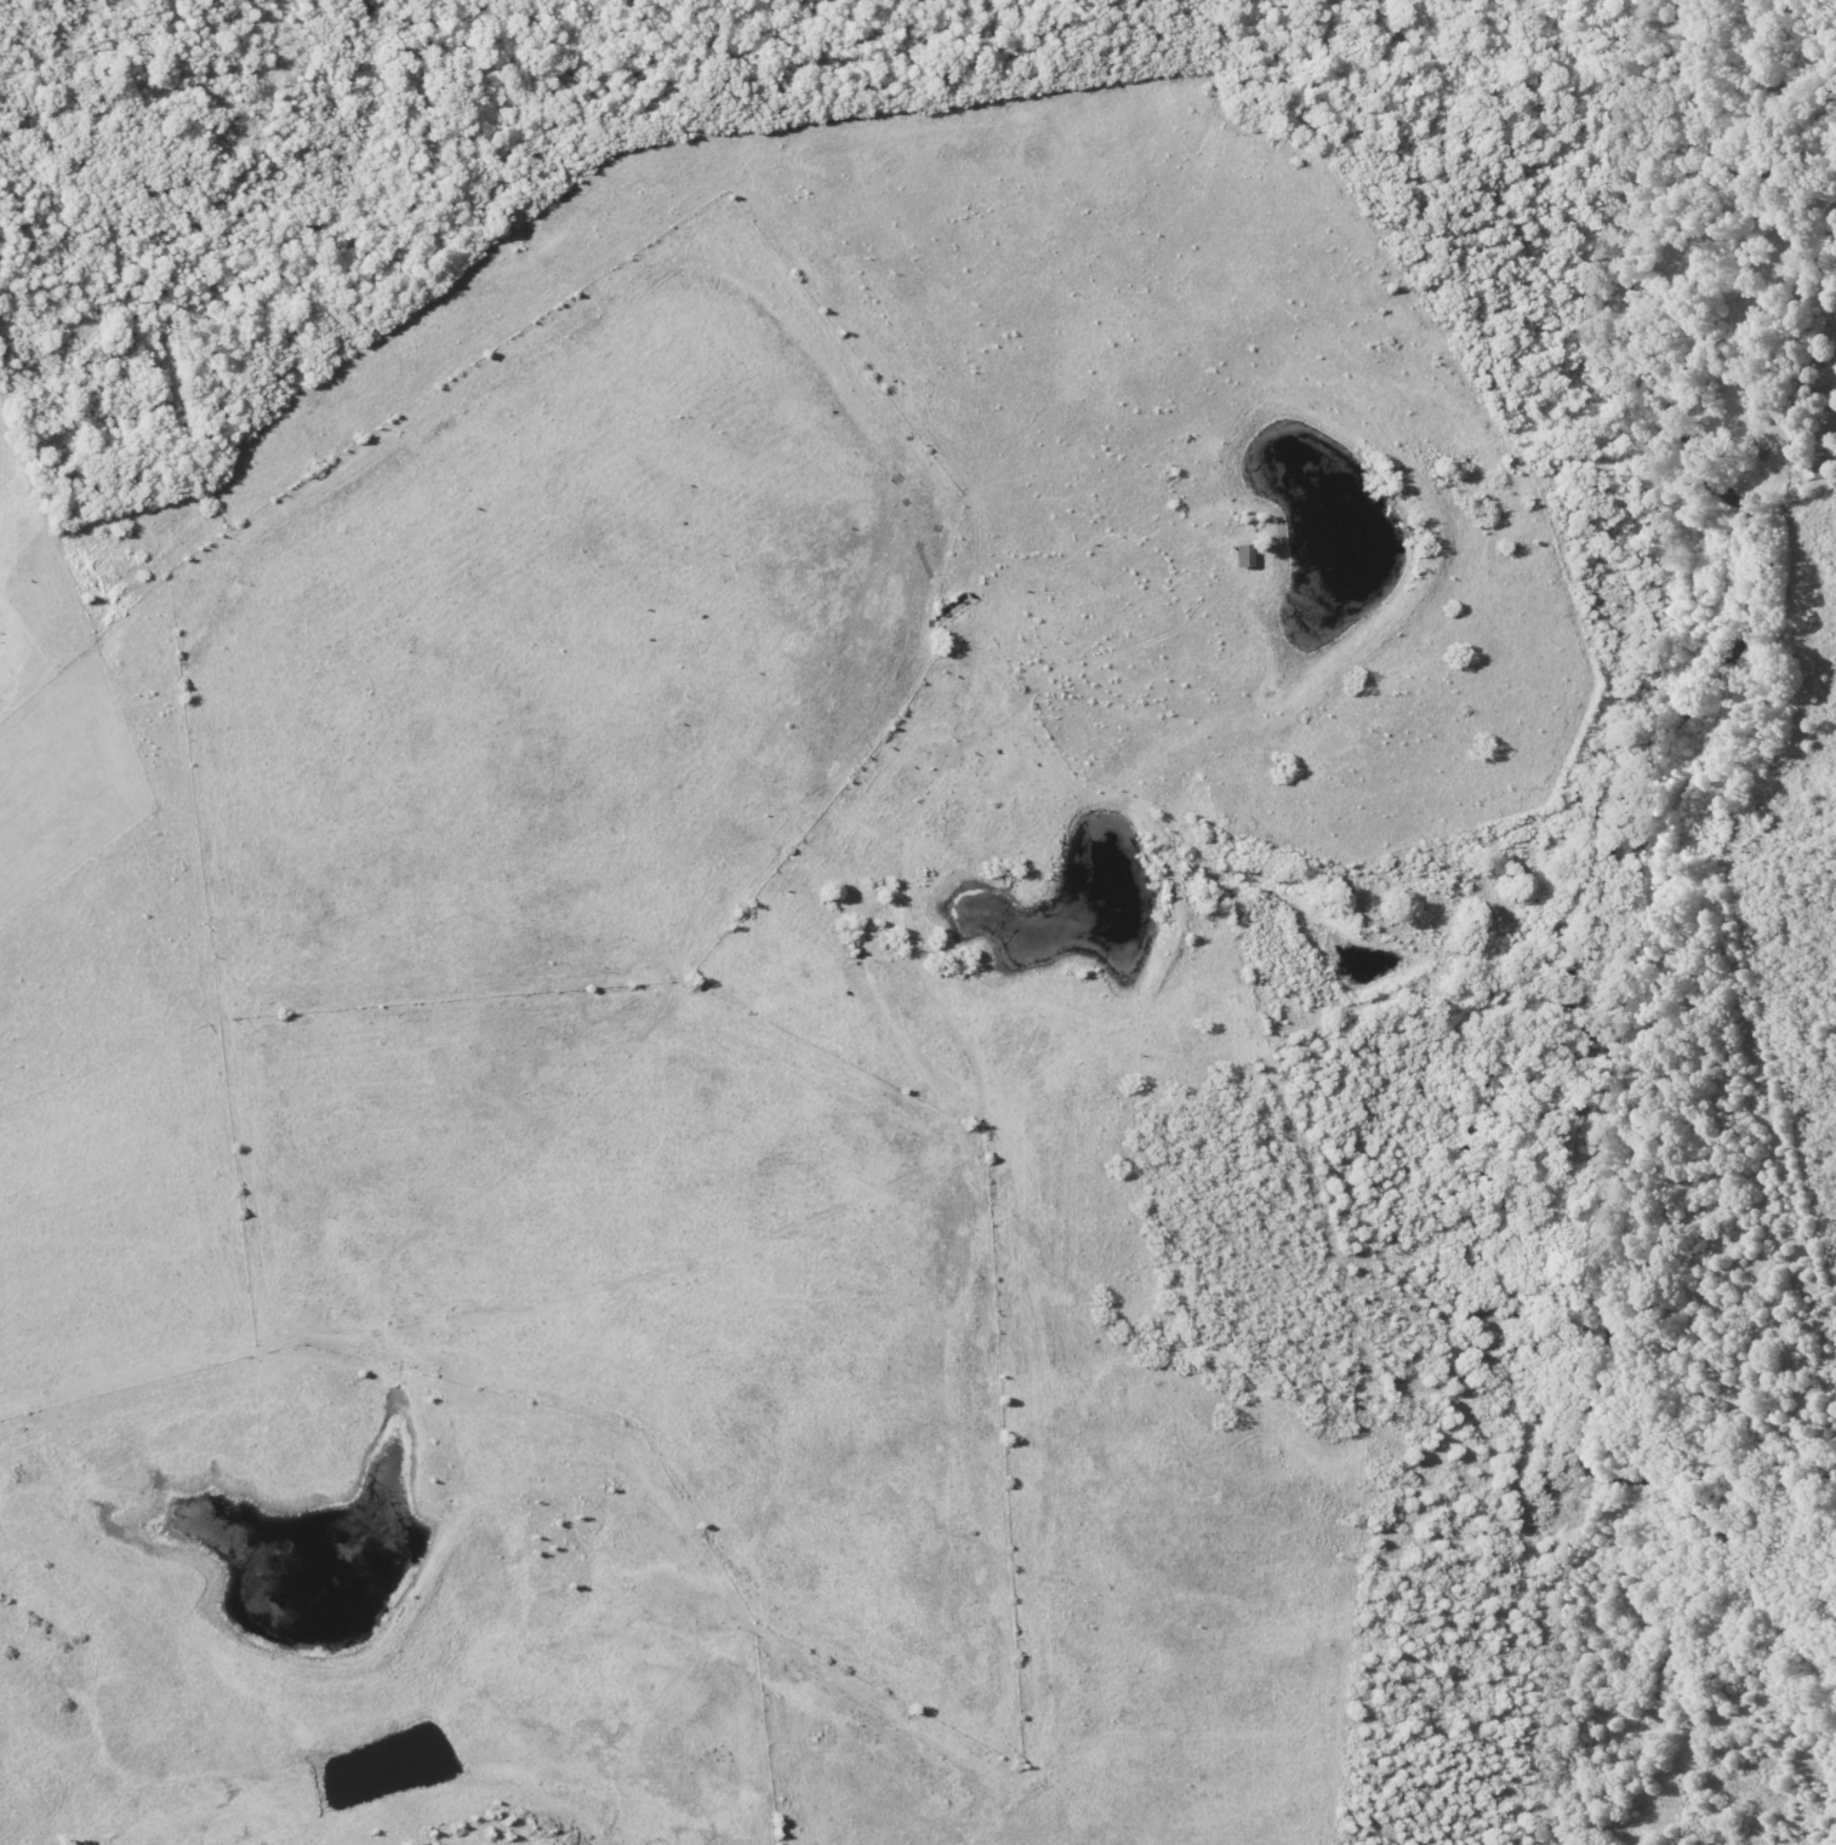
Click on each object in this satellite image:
building: (1243, 555)

